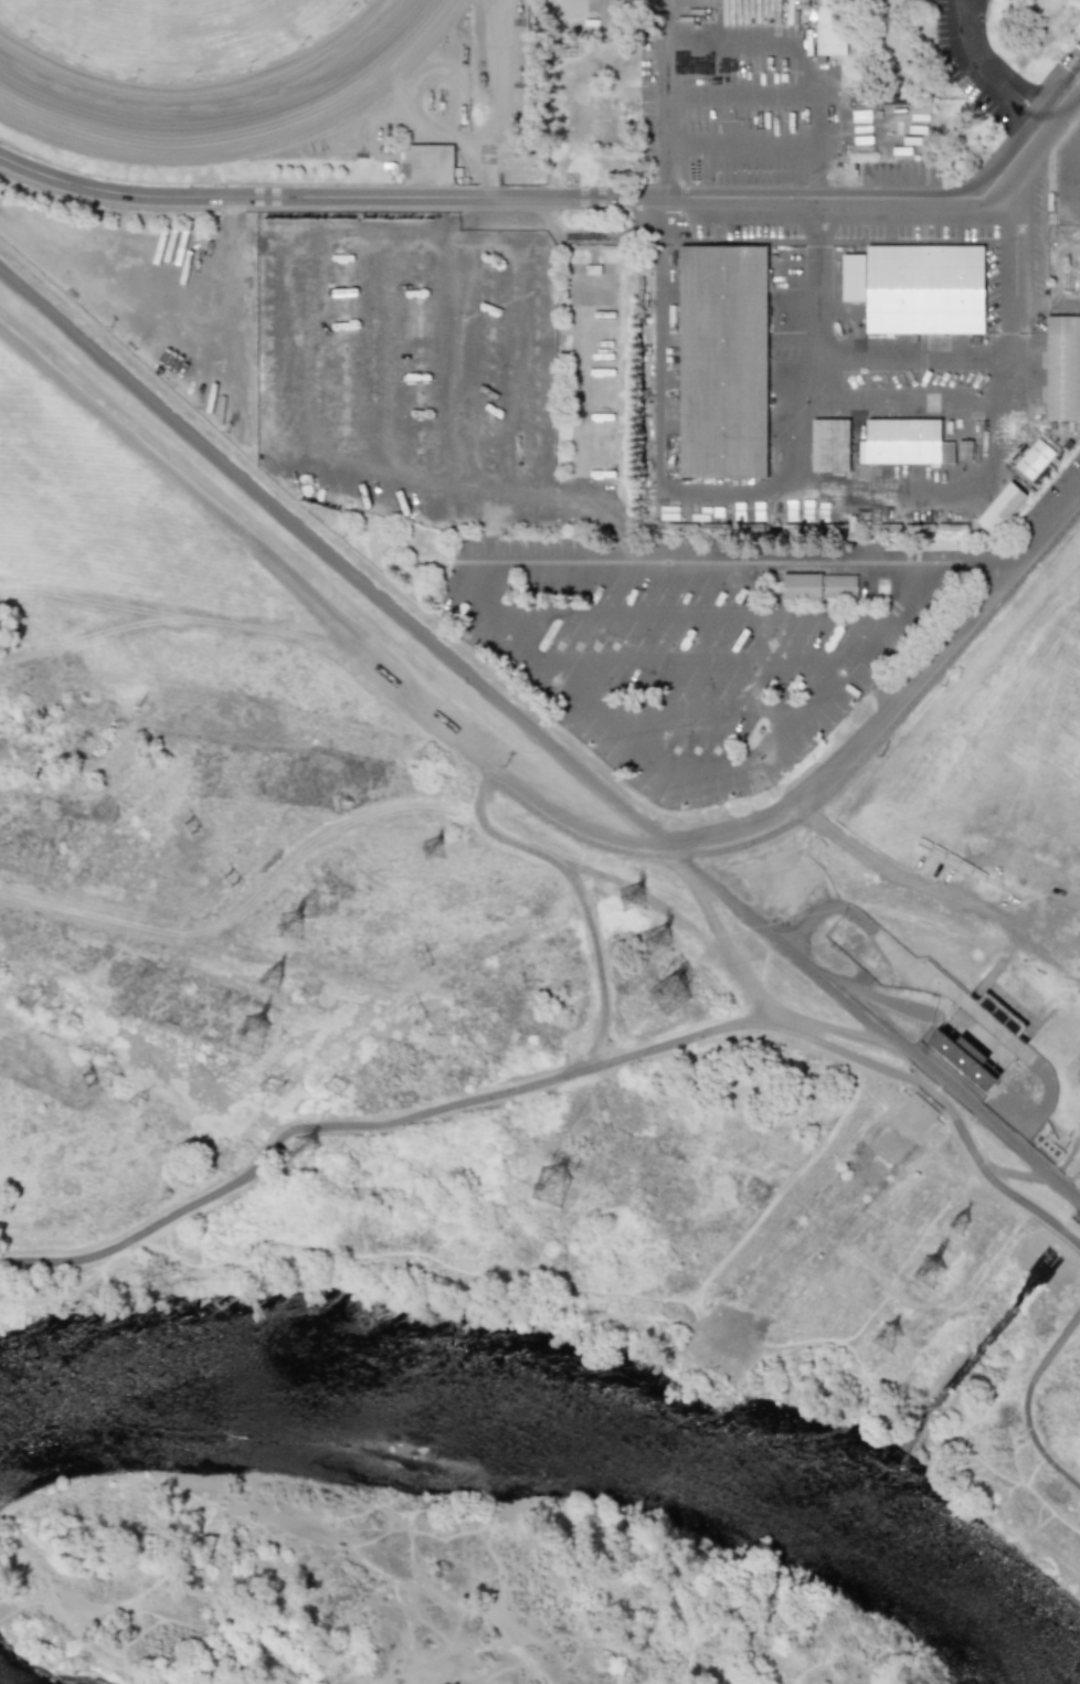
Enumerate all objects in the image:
building: (604, 11)
building: (827, 29)
road: (806, 51)
road: (987, 70)
track: (202, 71)
road: (1067, 74)
track: (214, 85)
road: (667, 98)
road: (738, 99)
road: (1073, 173)
road: (1067, 179)
parking lot: (1068, 180)
road: (557, 198)
theme park: (610, 214)
road: (345, 233)
road: (415, 234)
road: (477, 237)
road: (525, 240)
road: (1028, 244)
road: (1006, 263)
building: (917, 288)
road: (910, 358)
building: (722, 360)
road: (543, 368)
building: (1062, 368)
road: (441, 370)
road: (502, 389)
road: (927, 399)
building: (900, 442)
building: (829, 445)
building: (964, 449)
road: (932, 488)
road: (722, 491)
building: (999, 508)
road: (614, 510)
road: (330, 558)
road: (686, 558)
road: (968, 558)
building: (818, 585)
road: (319, 611)
road: (161, 612)
road: (696, 622)
road: (697, 666)
road: (897, 702)
road: (691, 765)
road: (486, 767)
power tower: (190, 829)
road: (645, 847)
power tower: (436, 849)
road: (674, 854)
road: (573, 865)
power tower: (230, 883)
power tower: (637, 899)
road: (247, 901)
road: (707, 910)
power tower: (293, 926)
power tower: (663, 941)
power tower: (431, 956)
power tower: (274, 982)
power tower: (673, 993)
power tower: (421, 1010)
road: (861, 1015)
road: (764, 1018)
road: (806, 1030)
power tower: (255, 1031)
building: (964, 1058)
road: (553, 1074)
power tower: (88, 1083)
power tower: (338, 1088)
power tower: (275, 1089)
power tower: (141, 1102)
road: (289, 1137)
power tower: (308, 1153)
road: (1037, 1175)
power tower: (553, 1188)
road: (775, 1195)
power tower: (963, 1226)
power tower: (933, 1272)
power tower: (885, 1337)
road: (1033, 1406)
river: (568, 1428)

